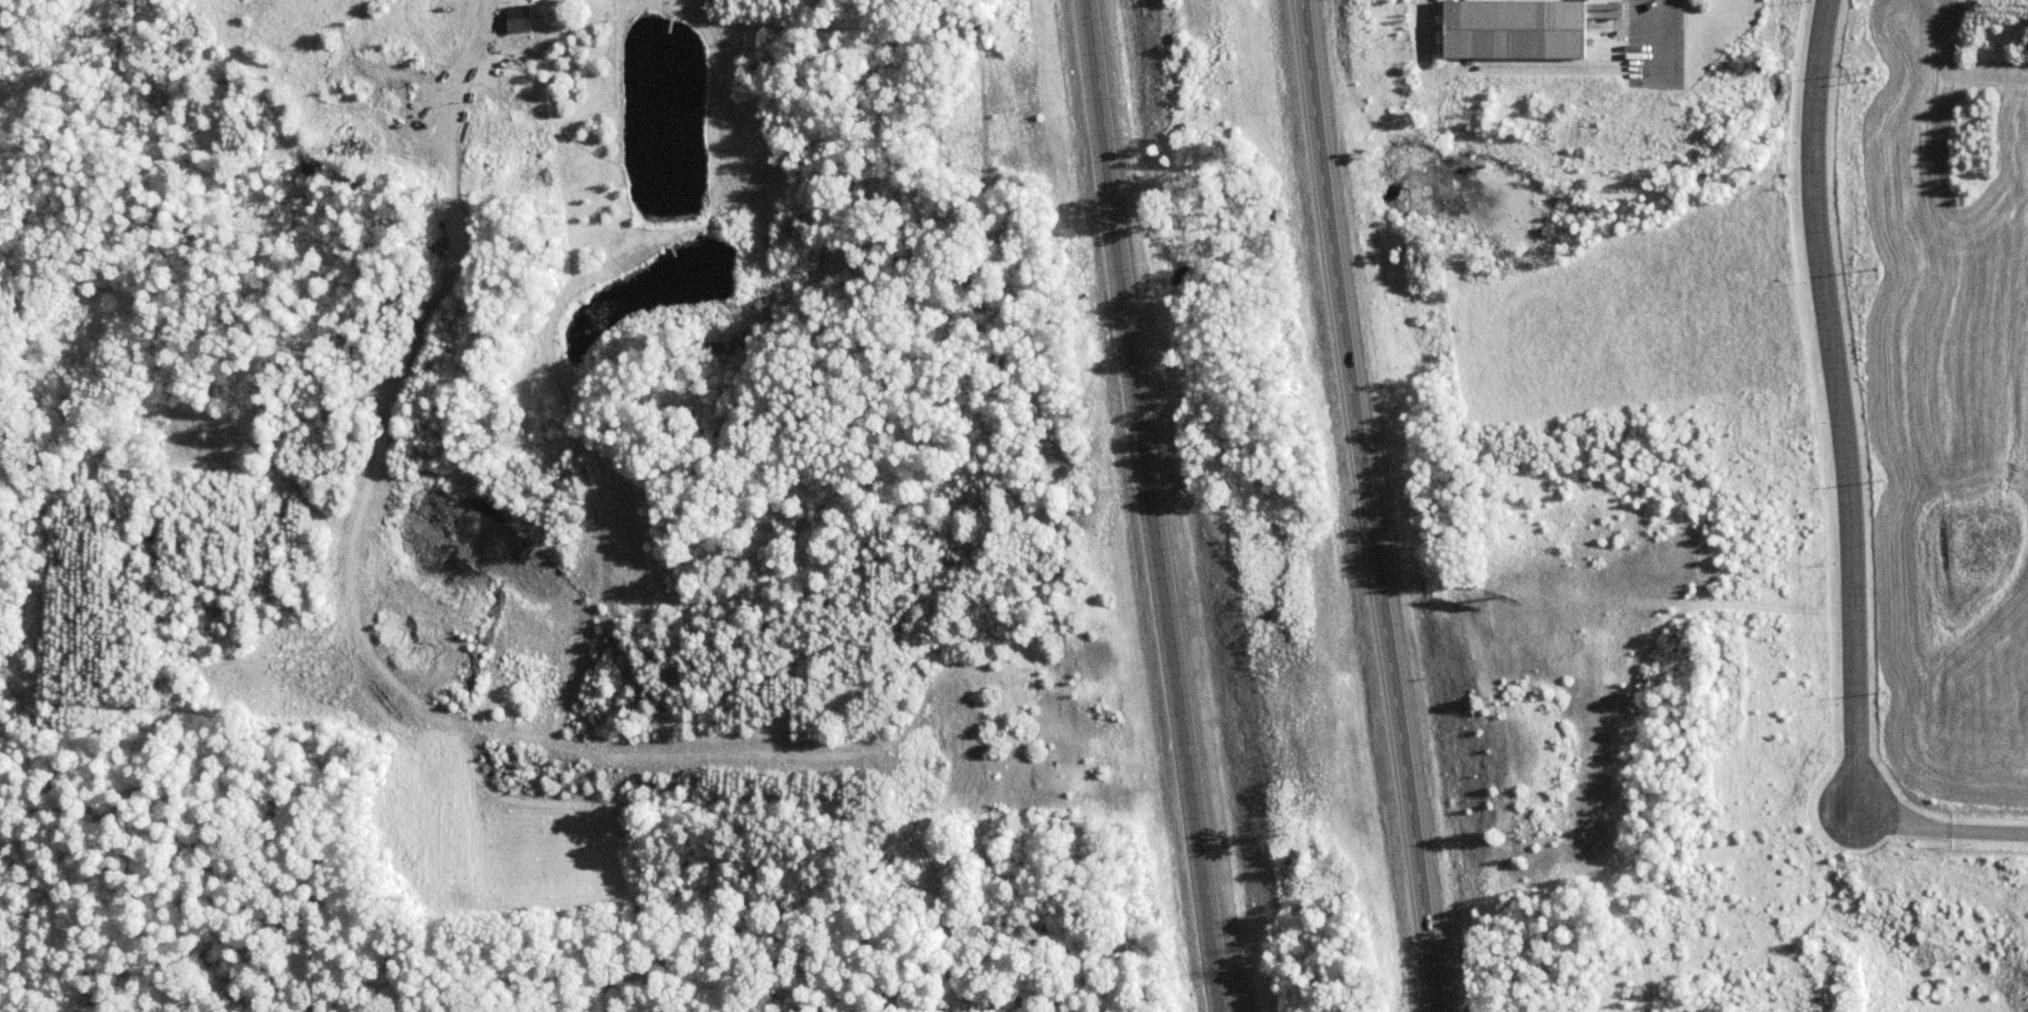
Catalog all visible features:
building: (513, 24)
building: (1508, 29)
road: (1658, 37)
road: (1837, 406)
road: (1368, 505)
road: (1148, 506)

